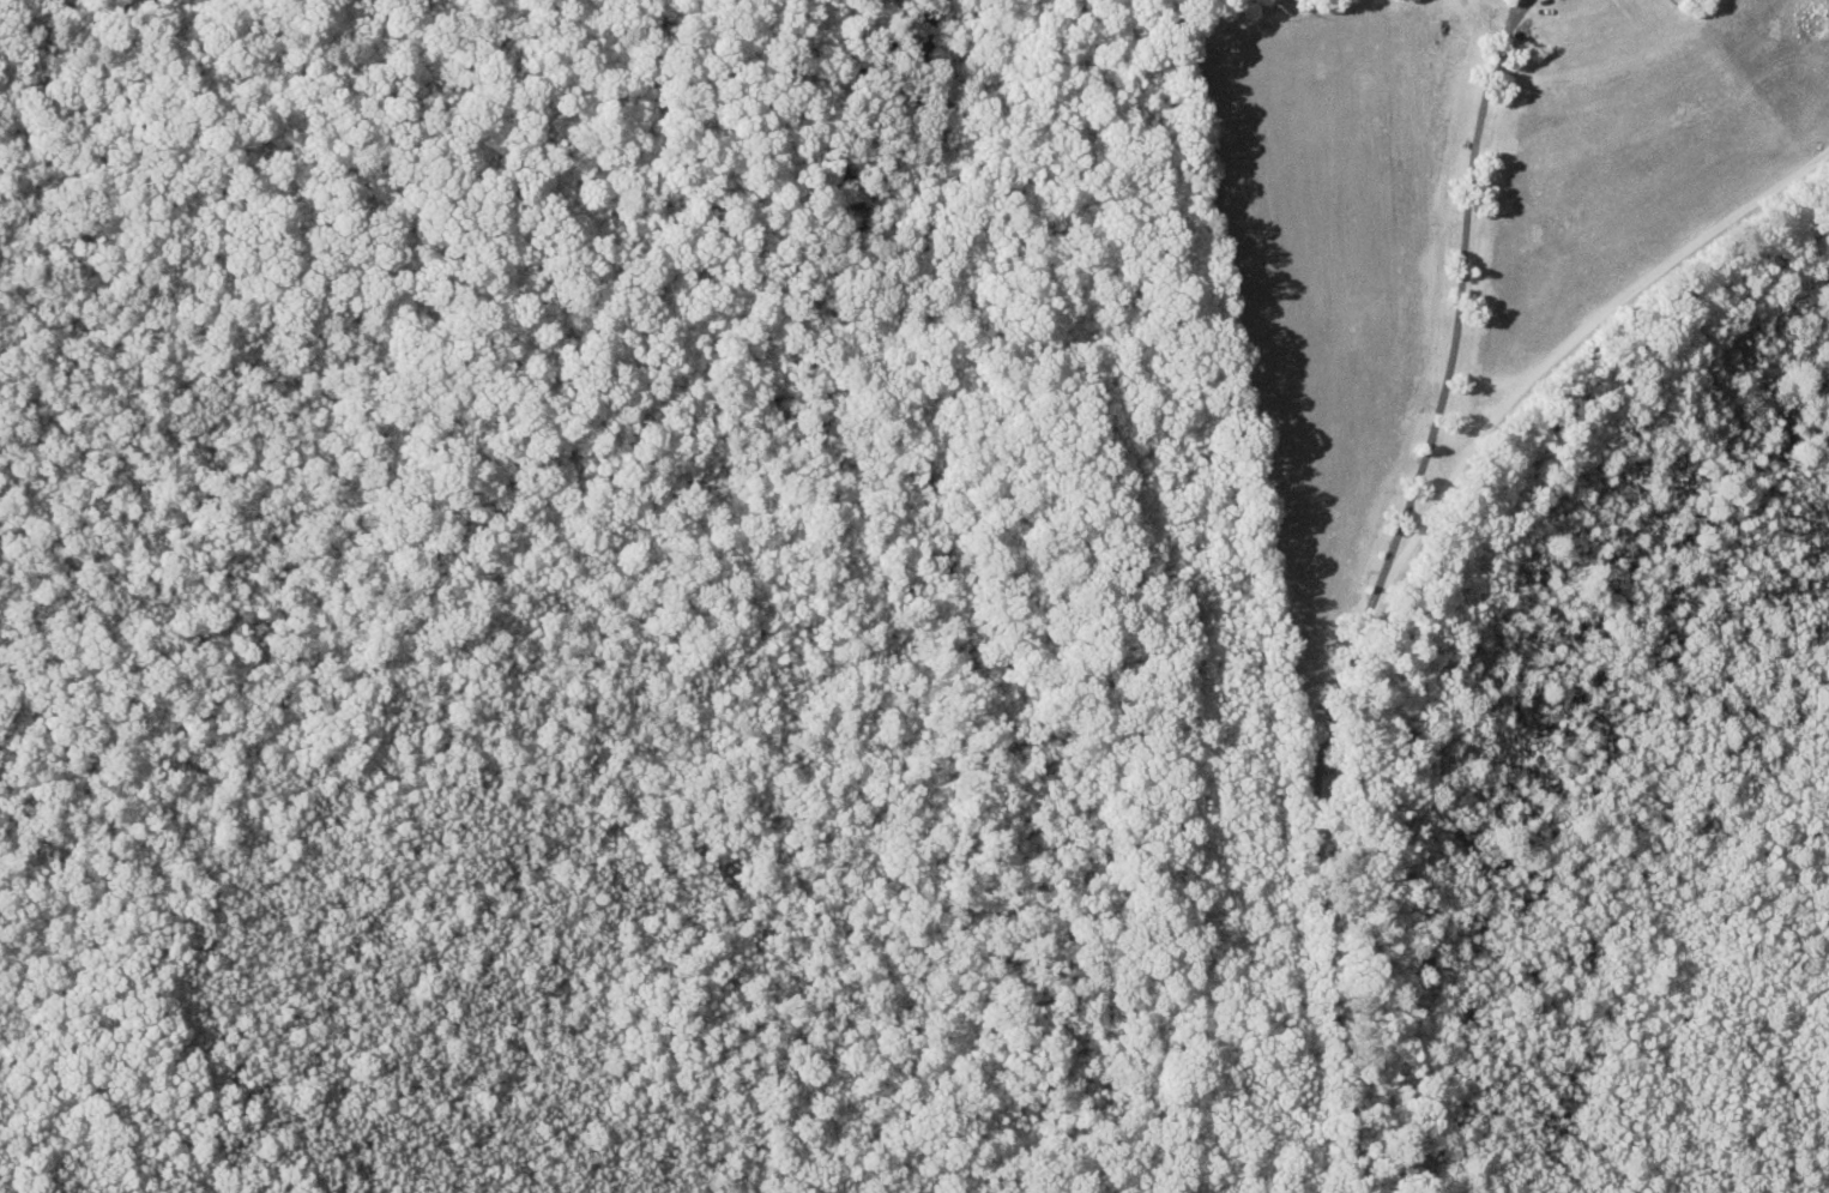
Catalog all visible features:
road: (1573, 339)
road: (1375, 590)

